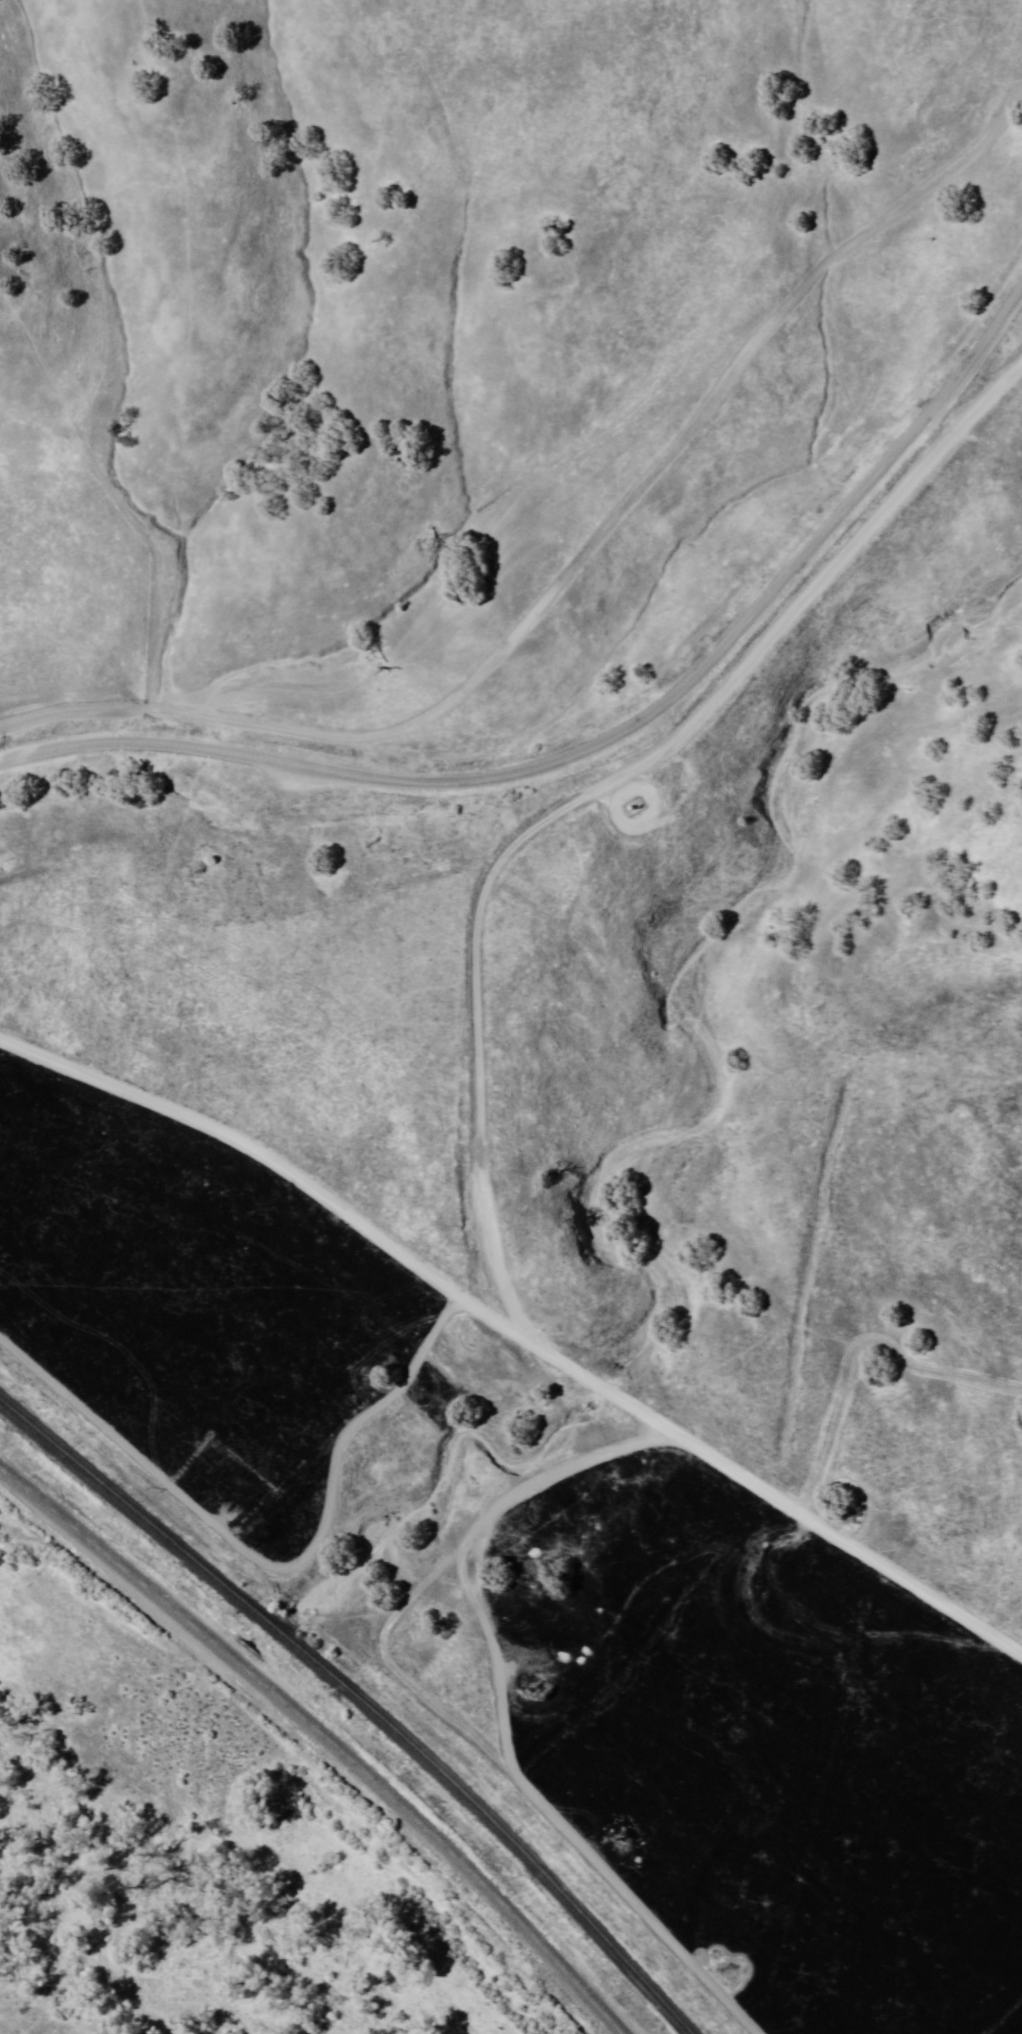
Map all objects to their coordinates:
road: (157, 515)
road: (605, 745)
road: (518, 1335)
railway: (357, 1703)
road: (328, 1737)
park: (216, 1842)

